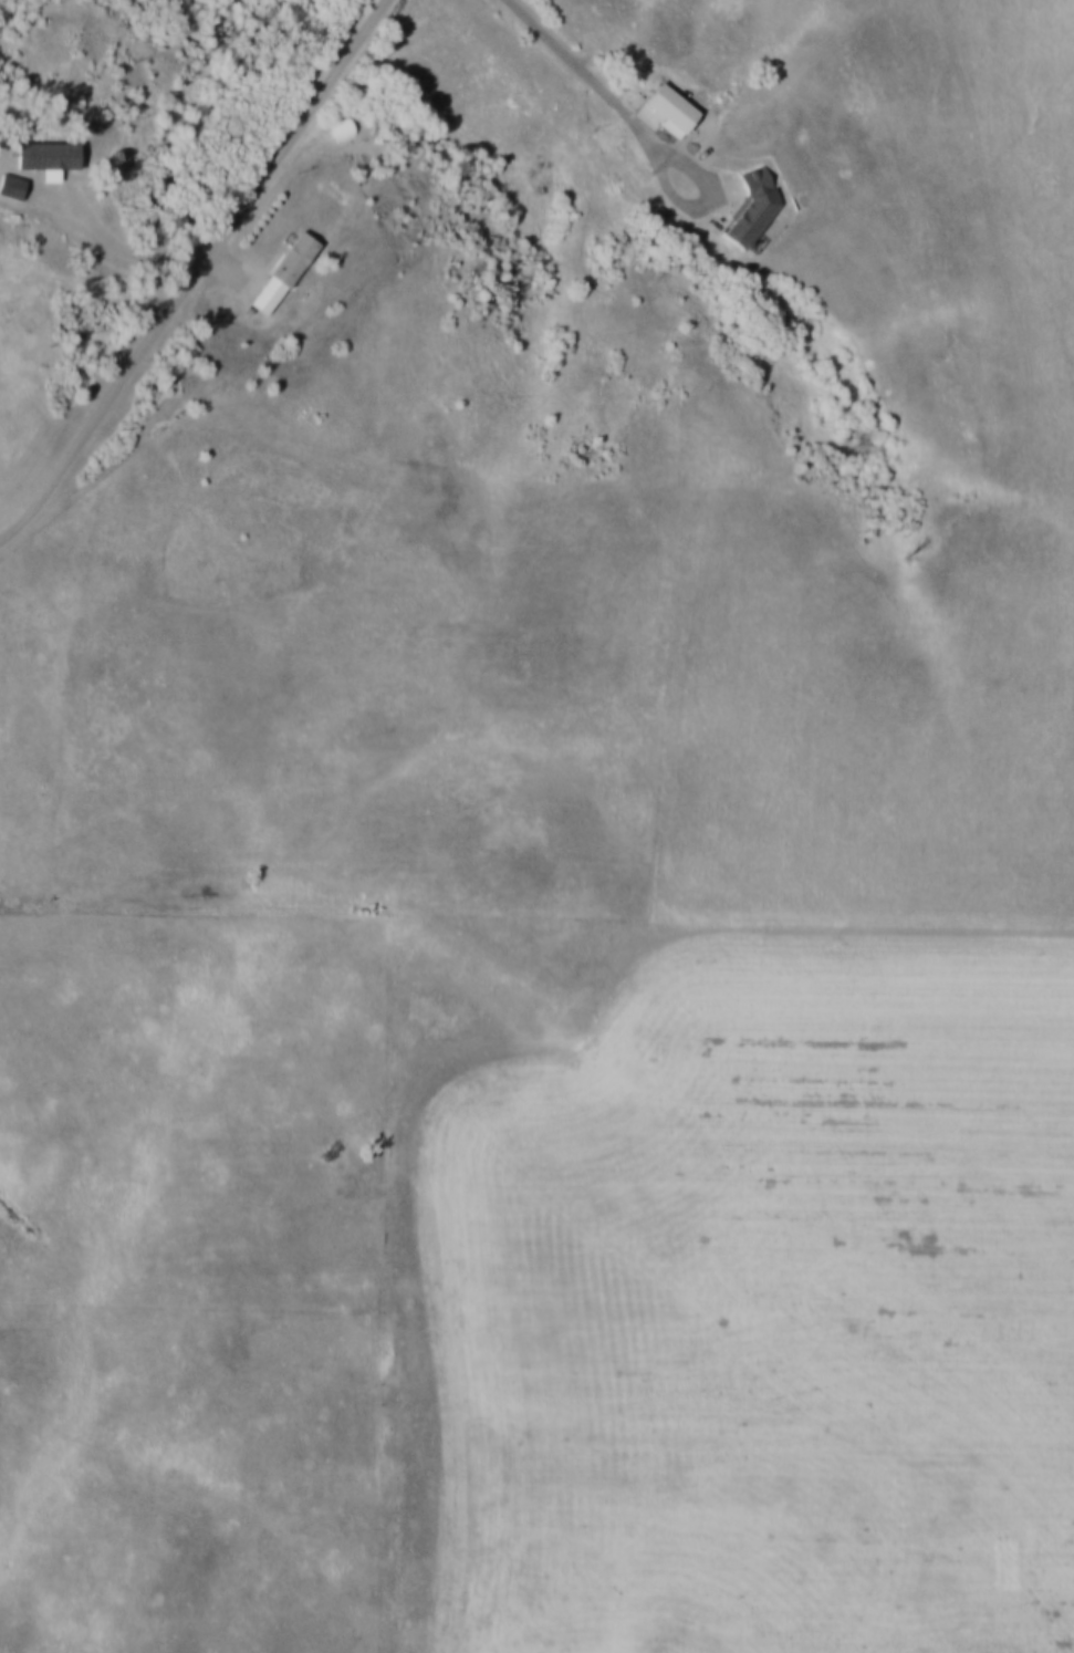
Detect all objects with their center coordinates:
road: (670, 128)
building: (343, 129)
building: (40, 160)
building: (12, 186)
road: (241, 204)
building: (753, 206)
building: (285, 274)

